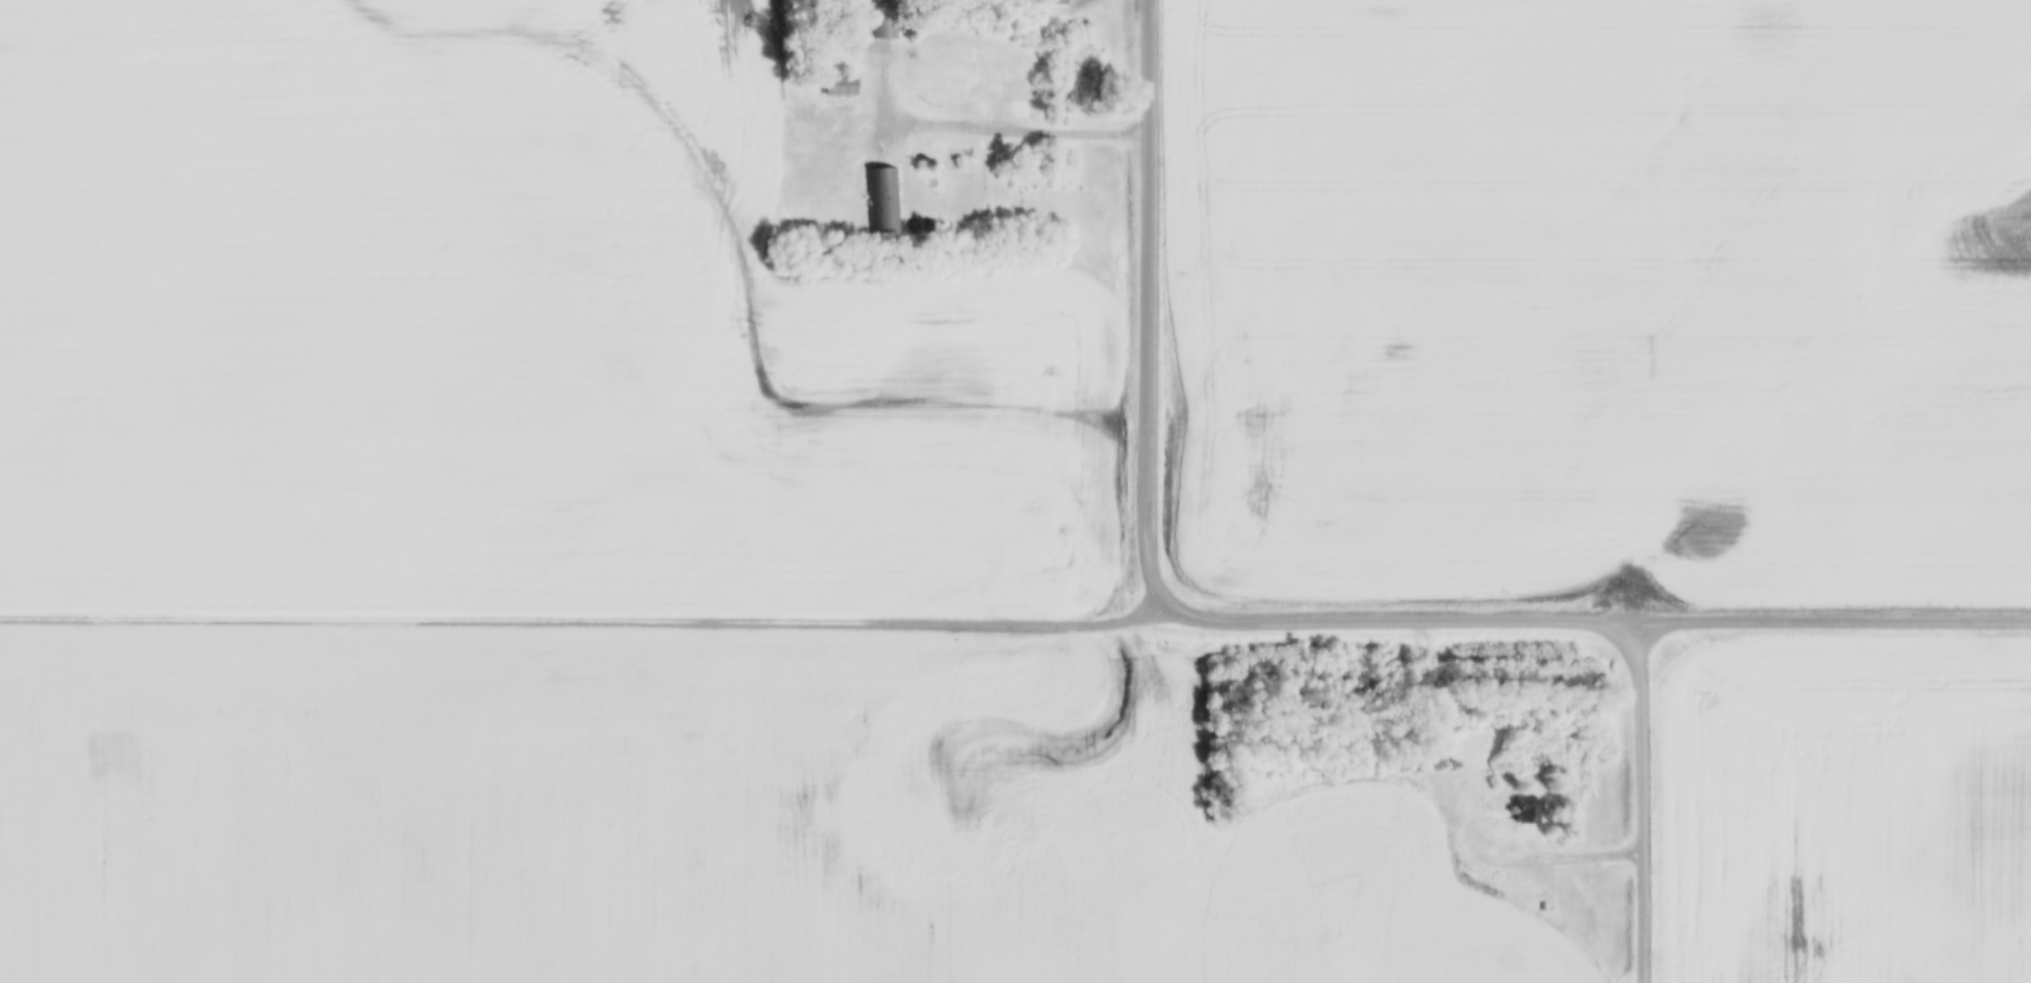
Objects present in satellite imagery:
building: (1049, 2)
building: (886, 19)
building: (840, 84)
road: (988, 121)
building: (883, 199)
road: (1151, 302)
road: (1599, 615)
road: (588, 617)
road: (1645, 799)
building: (1529, 808)
road: (1578, 850)

